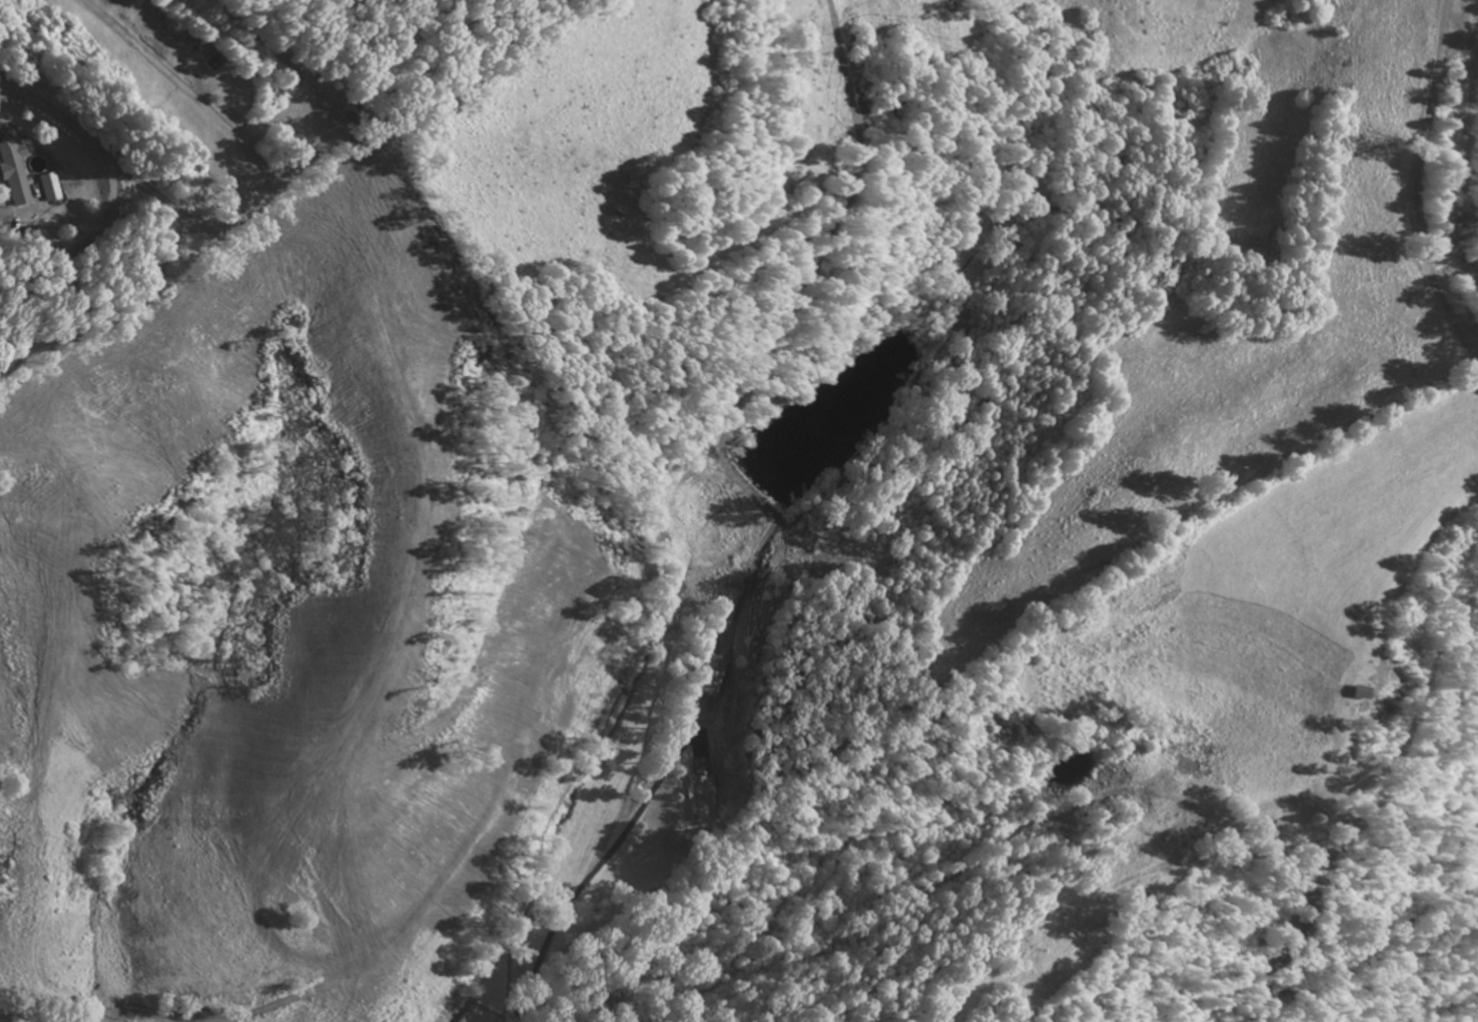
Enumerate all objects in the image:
road: (488, 74)
building: (10, 178)
road: (1408, 191)
road: (393, 316)
building: (706, 676)
building: (698, 799)
road: (1076, 970)
building: (117, 985)

